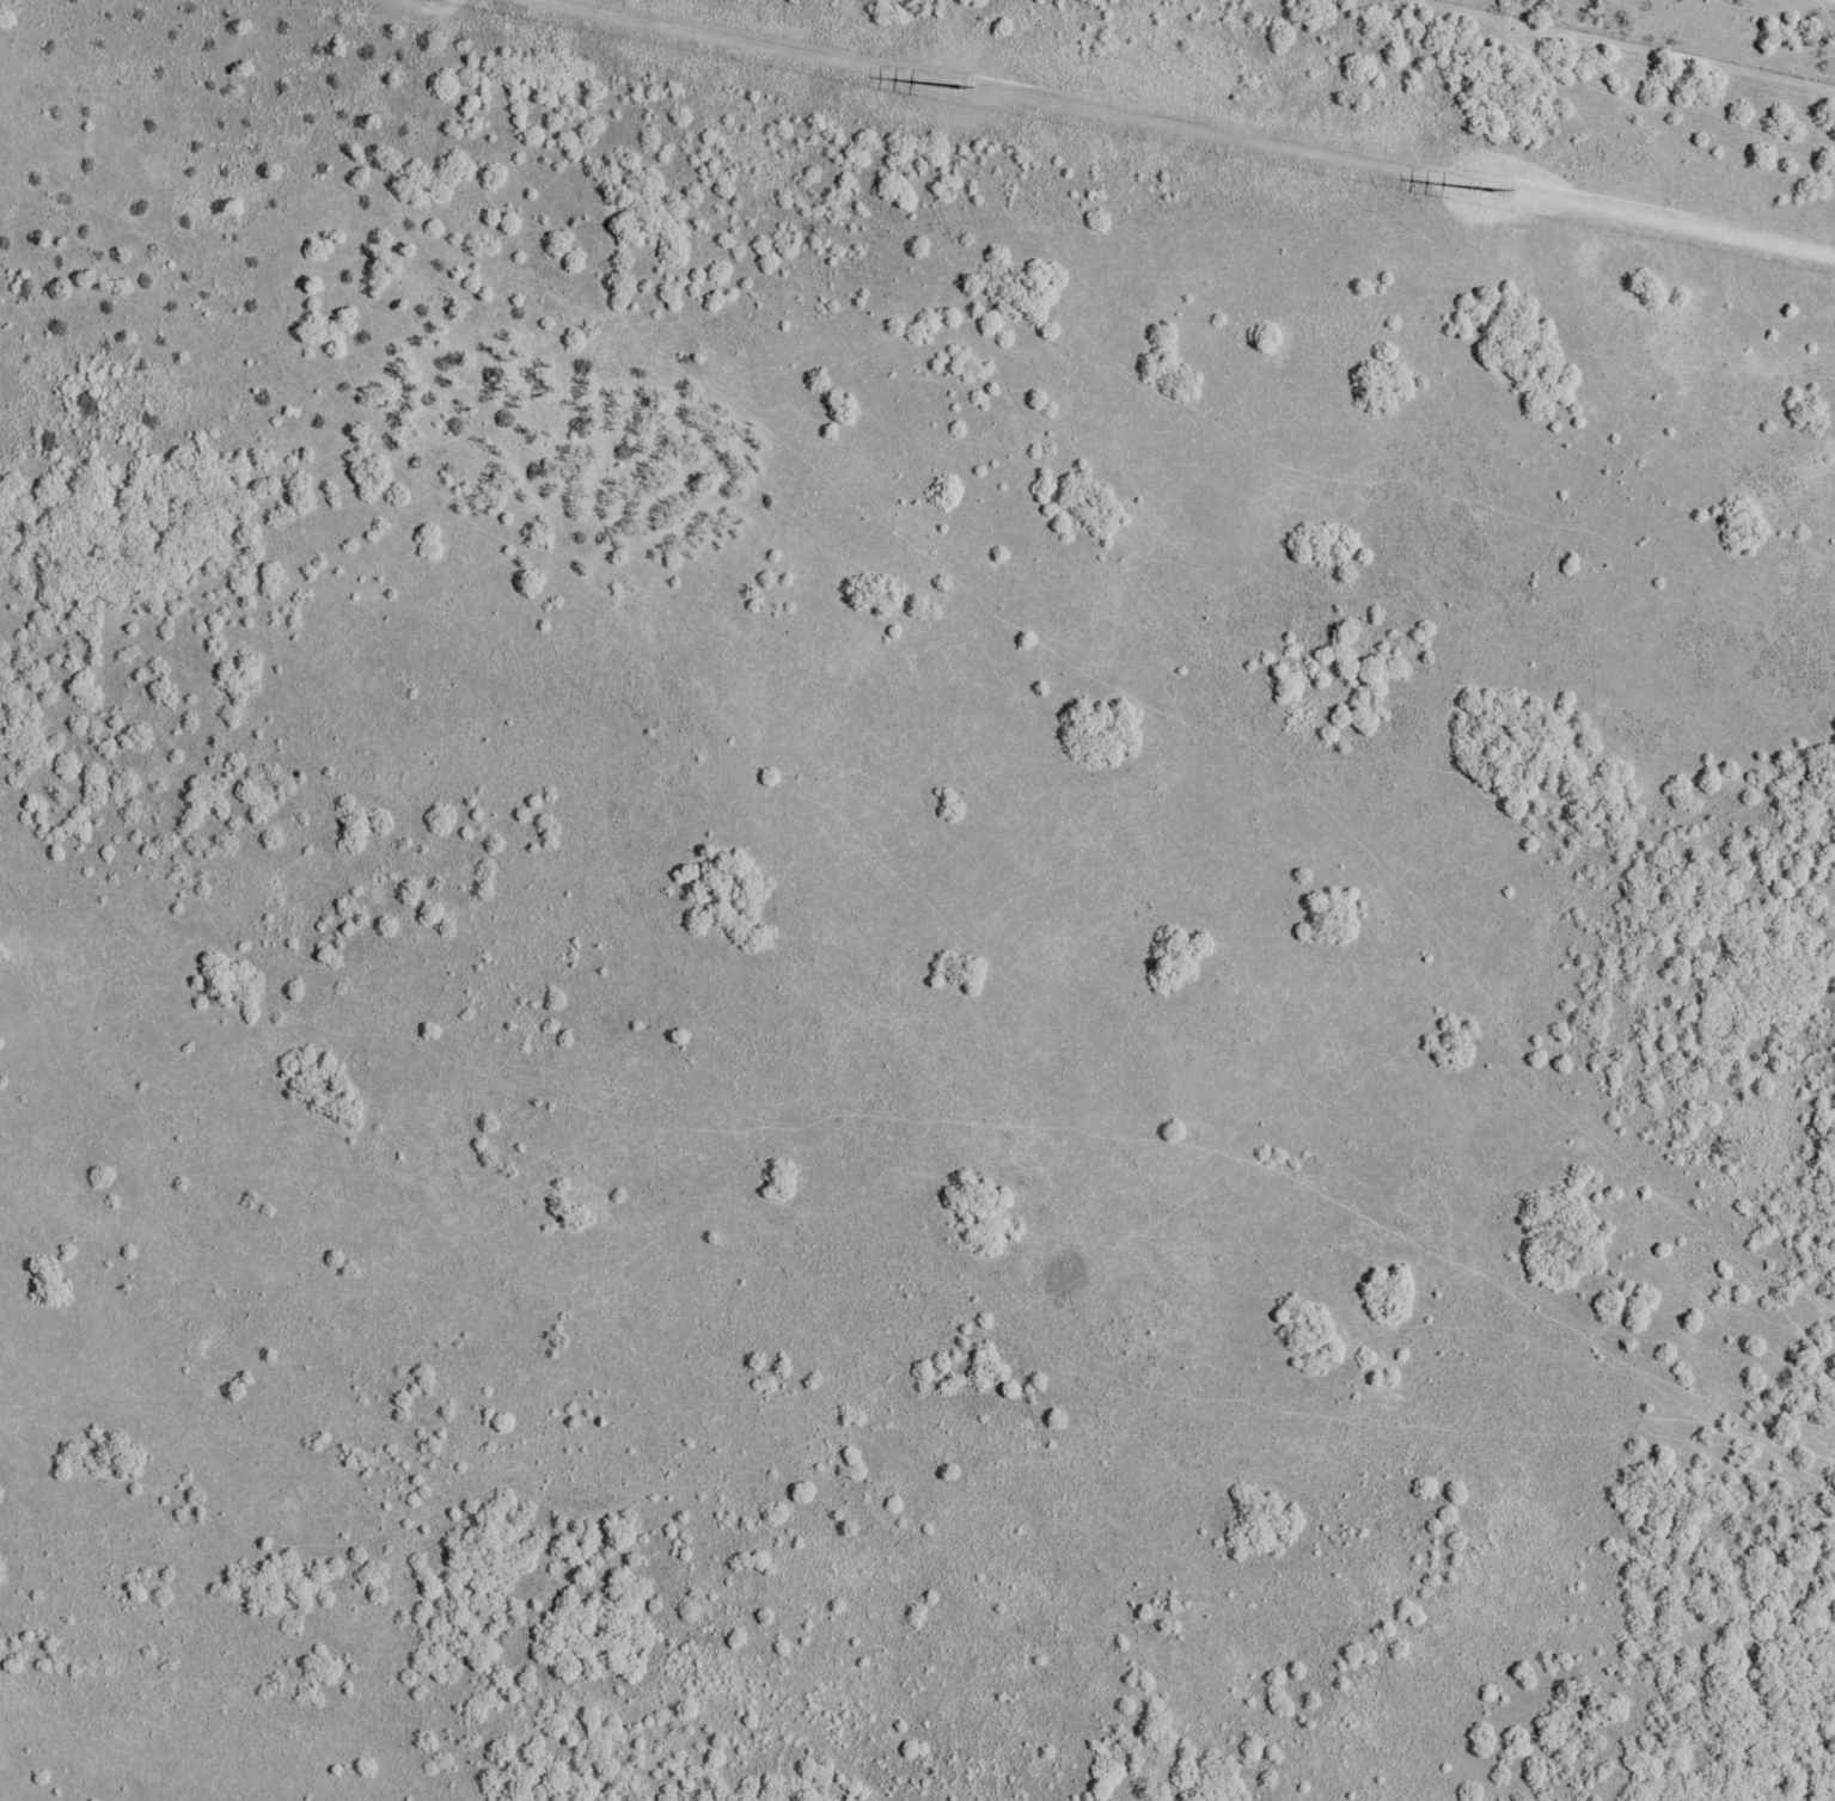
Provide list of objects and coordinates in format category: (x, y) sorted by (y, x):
power tower: (965, 92)
power tower: (1484, 197)
road: (880, 778)

